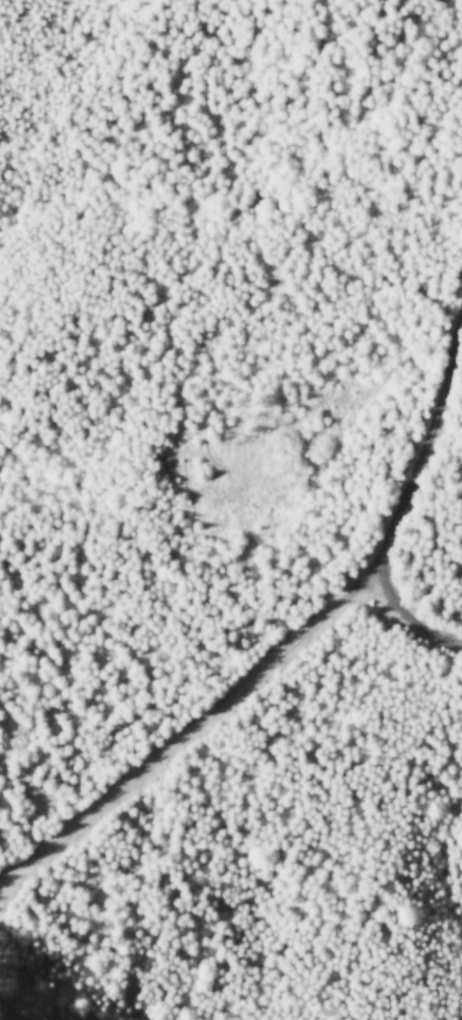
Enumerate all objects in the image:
road: (405, 510)
road: (193, 725)
road: (8, 1012)

